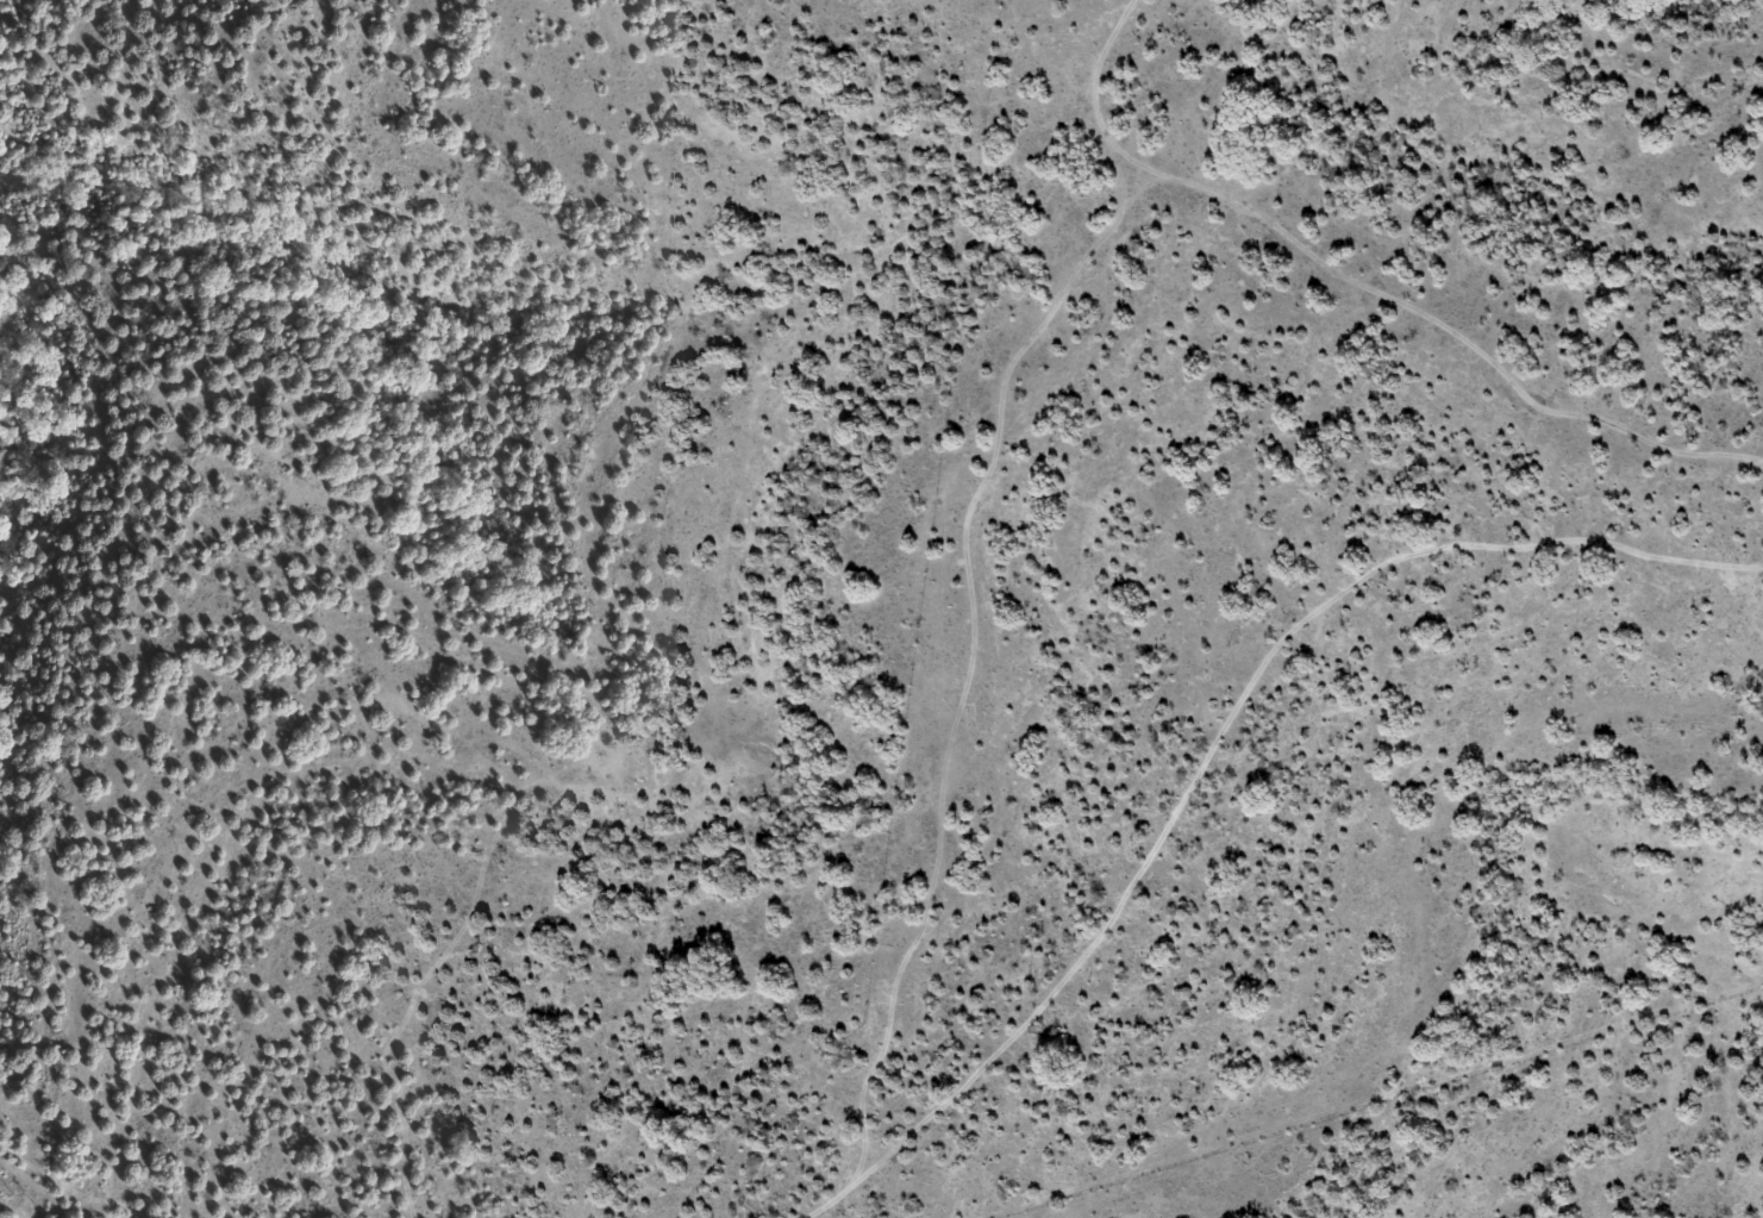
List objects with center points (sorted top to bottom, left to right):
road: (1217, 749)

